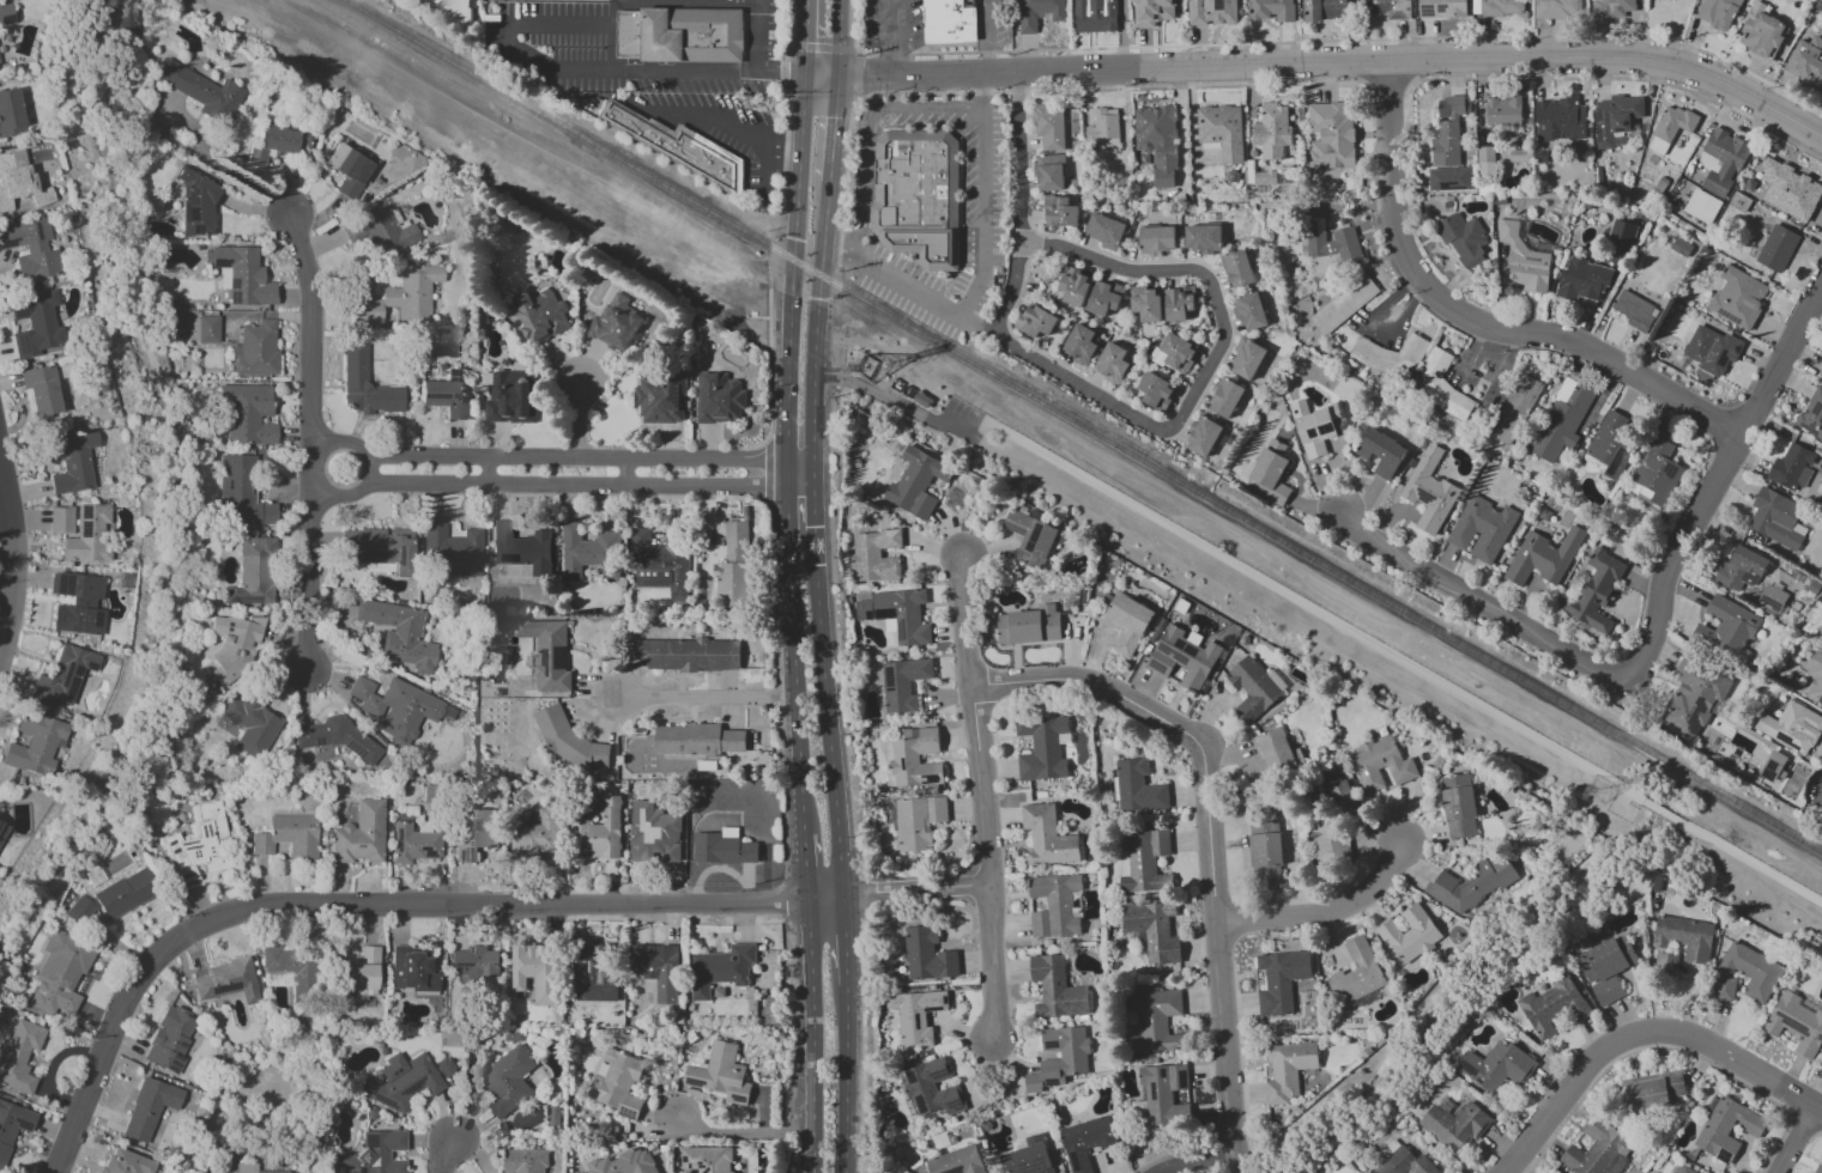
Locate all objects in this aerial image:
road: (724, 0)
building: (1496, 7)
building: (1387, 8)
building: (1441, 8)
rooftop solar panel: (1443, 8)
building: (1611, 8)
building: (1271, 10)
building: (1324, 10)
rooftop solar panel: (1433, 10)
building: (1557, 10)
building: (454, 12)
building: (1152, 12)
building: (1211, 12)
building: (1037, 13)
building: (1717, 13)
building: (6, 16)
building: (1095, 16)
rooftop solar panel: (7, 19)
building: (128, 19)
building: (954, 22)
road: (789, 30)
road: (758, 34)
building: (683, 35)
flagpole: (773, 35)
building: (1762, 35)
road: (855, 36)
road: (986, 37)
road: (807, 38)
road: (835, 38)
road: (892, 38)
road: (1372, 39)
traffic signals: (807, 41)
road: (612, 44)
road: (849, 50)
road: (891, 55)
building: (1806, 60)
road: (1337, 67)
road: (569, 68)
road: (783, 72)
traffic signals: (779, 73)
road: (781, 73)
road: (821, 78)
traffic signals: (858, 79)
parking lot: (640, 83)
building: (201, 92)
building: (1502, 111)
building: (11, 114)
traffic signals: (831, 120)
building: (1558, 120)
building: (1615, 120)
road: (737, 126)
building: (1048, 127)
road: (868, 128)
building: (1670, 128)
road: (830, 130)
building: (1102, 130)
building: (1221, 130)
building: (1271, 130)
building: (1448, 133)
building: (1328, 141)
building: (1157, 142)
building: (676, 144)
building: (276, 145)
road: (783, 146)
road: (782, 154)
building: (1484, 162)
rooftop solar panel: (353, 164)
building: (347, 168)
road: (223, 170)
building: (1049, 172)
building: (18, 181)
road: (845, 184)
rooftop solar panel: (190, 187)
building: (1788, 189)
rooftop solar panel: (196, 192)
building: (919, 196)
road: (983, 200)
rooftop solar panel: (192, 201)
building: (198, 206)
building: (1701, 206)
building: (1059, 212)
rooftop solar panel: (1066, 212)
rooftop solar panel: (186, 213)
rooftop solar panel: (194, 215)
rooftop solar panel: (1060, 223)
parking lot: (982, 230)
rooftop solar panel: (198, 231)
building: (380, 231)
building: (1103, 231)
rooftop solar panel: (37, 232)
building: (1621, 233)
rooftop solar panel: (28, 236)
road: (819, 236)
building: (1203, 238)
road: (793, 239)
building: (1156, 239)
building: (1463, 241)
rooftop solar panel: (7, 244)
building: (1332, 245)
road: (775, 248)
building: (1776, 248)
building: (31, 249)
building: (1523, 260)
rooftop solar panel: (223, 265)
building: (1239, 268)
building: (240, 275)
building: (1581, 280)
road: (906, 286)
building: (1073, 287)
building: (400, 297)
building: (1103, 297)
building: (1738, 298)
building: (1178, 303)
building: (1145, 304)
building: (1343, 304)
building: (1635, 310)
building: (1249, 311)
building: (540, 316)
rooftop solar panel: (1727, 316)
road: (1478, 317)
building: (1035, 321)
building: (36, 322)
building: (615, 324)
building: (205, 329)
building: (1079, 344)
road: (813, 346)
building: (255, 350)
building: (1711, 350)
rooftop solar panel: (1737, 350)
building: (1174, 352)
building: (1388, 357)
rooftop solar panel: (1721, 359)
building: (1247, 360)
building: (1112, 363)
power tower: (865, 369)
road: (769, 373)
building: (1821, 375)
building: (365, 387)
building: (1441, 388)
building: (1156, 391)
building: (40, 394)
rooftop solar panel: (670, 394)
building: (444, 395)
rooftop solar panel: (648, 397)
building: (660, 397)
building: (509, 399)
building: (719, 399)
building: (1225, 399)
rooftop solar panel: (664, 405)
road: (895, 405)
rooftop solar panel: (1816, 406)
building: (1515, 409)
road: (1125, 411)
building: (1812, 415)
road: (579, 418)
parking lot: (958, 419)
building: (1562, 419)
railway: (1082, 423)
building: (1316, 426)
rooftop solar panel: (1811, 427)
rooftop solar panel: (1328, 430)
road: (786, 432)
road: (813, 432)
rooftop solar panel: (1315, 432)
building: (1203, 437)
road: (310, 444)
building: (1610, 444)
building: (1381, 452)
road: (545, 457)
road: (799, 461)
building: (72, 462)
rooftop solar panel: (1617, 462)
building: (1791, 467)
road: (370, 470)
road: (767, 470)
building: (1271, 472)
building: (1657, 472)
building: (916, 482)
road: (559, 484)
road: (1712, 487)
building: (1429, 491)
building: (240, 493)
road: (815, 494)
rooftop solar panel: (85, 512)
building: (60, 519)
building: (1776, 519)
rooftop solar panel: (1013, 528)
building: (1481, 529)
rooftop solar panel: (85, 530)
building: (87, 535)
building: (1030, 537)
rooftop solar panel: (1033, 537)
building: (525, 548)
building: (379, 549)
building: (450, 552)
building: (588, 552)
rooftop solar panel: (1021, 553)
building: (874, 555)
building: (1542, 557)
rooftop solar panel: (373, 558)
road: (8, 559)
building: (736, 560)
building: (659, 565)
building: (1739, 570)
road: (837, 571)
building: (252, 573)
rooftop solar panel: (62, 582)
rooftop solar panel: (654, 583)
rooftop solar panel: (68, 588)
building: (1594, 591)
building: (1770, 598)
rooftop solar panel: (1772, 602)
building: (78, 603)
road: (1478, 604)
road: (1313, 610)
building: (896, 616)
rooftop solar panel: (56, 618)
rooftop solar panel: (420, 618)
rooftop solar panel: (96, 619)
rooftop solar panel: (77, 621)
building: (1127, 622)
rooftop solar panel: (419, 625)
building: (1029, 625)
rooftop solar panel: (228, 628)
building: (1727, 628)
building: (398, 633)
building: (502, 633)
rooftop solar panel: (418, 634)
rooftop solar panel: (1176, 646)
road: (793, 649)
building: (235, 650)
rooftop solar panel: (1192, 650)
rooftop solar panel: (1174, 652)
building: (547, 654)
building: (688, 655)
building: (1182, 656)
rooftop solar panel: (561, 658)
rooftop solar panel: (543, 661)
rooftop solar panel: (91, 665)
rooftop solar panel: (1157, 667)
building: (62, 676)
building: (1815, 677)
rooftop solar panel: (74, 680)
building: (902, 683)
building: (1252, 689)
road: (706, 699)
building: (1691, 700)
building: (397, 706)
road: (828, 712)
rooftop solar panel: (1694, 716)
building: (250, 725)
building: (1792, 727)
rooftop solar panel: (1784, 739)
building: (568, 740)
building: (697, 740)
rooftop solar panel: (319, 742)
building: (34, 743)
building: (1041, 748)
rooftop solar panel: (353, 749)
building: (1277, 752)
building: (913, 758)
building: (1380, 765)
building: (1137, 788)
building: (1343, 798)
road: (981, 800)
rooftop solar panel: (1449, 800)
building: (1458, 806)
road: (1663, 813)
building: (918, 821)
building: (2, 827)
rooftop solar panel: (204, 829)
rooftop solar panel: (207, 829)
rooftop solar panel: (1452, 829)
building: (474, 833)
building: (598, 833)
building: (359, 834)
building: (537, 834)
building: (653, 835)
building: (287, 837)
building: (1047, 837)
road: (1207, 838)
building: (1326, 840)
rooftop solar panel: (171, 841)
rooftop solar panel: (395, 841)
rooftop solar panel: (472, 843)
rooftop solar panel: (187, 844)
building: (412, 844)
rooftop solar panel: (192, 847)
building: (199, 847)
rooftop solar panel: (465, 847)
building: (722, 847)
rooftop solar panel: (174, 851)
building: (1265, 852)
rooftop solar panel: (426, 853)
building: (1144, 862)
road: (1753, 864)
road: (804, 868)
rooftop solar panel: (184, 874)
rooftop solar panel: (189, 881)
building: (1471, 885)
road: (914, 889)
building: (125, 894)
building: (1054, 905)
road: (371, 906)
building: (78, 912)
road: (1324, 914)
building: (1152, 931)
building: (1409, 934)
building: (1684, 937)
road: (842, 940)
rooftop solar panel: (471, 950)
building: (927, 955)
building: (476, 962)
rooftop solar panel: (455, 965)
rooftop solar panel: (496, 965)
building: (1665, 965)
building: (287, 967)
building: (1606, 967)
building: (411, 970)
building: (656, 970)
building: (720, 970)
building: (1751, 971)
building: (535, 972)
building: (59, 973)
building: (593, 973)
building: (1356, 973)
building: (361, 974)
building: (226, 980)
building: (1279, 980)
building: (1055, 989)
building: (1723, 989)
rooftop solar panel: (225, 990)
rooftop solar panel: (594, 996)
building: (1552, 1005)
building: (915, 1015)
building: (1156, 1021)
rooftop solar panel: (1792, 1023)
building: (1796, 1023)
road: (1641, 1035)
road: (812, 1037)
building: (169, 1040)
rooftop solar panel: (181, 1046)
building: (19, 1056)
rooftop solar panel: (175, 1057)
building: (1059, 1058)
building: (1499, 1065)
building: (1821, 1065)
rooftop solar panel: (172, 1066)
rooftop solar panel: (1470, 1068)
building: (1287, 1069)
rooftop solar panel: (168, 1070)
building: (721, 1074)
road: (845, 1078)
building: (507, 1081)
building: (400, 1082)
rooftop solar panel: (692, 1082)
building: (617, 1083)
building: (931, 1088)
building: (1652, 1090)
building: (1162, 1095)
rooftop solar panel: (738, 1098)
building: (149, 1108)
rooftop solar panel: (626, 1113)
building: (12, 1125)
building: (1454, 1125)
building: (1726, 1128)
road: (743, 1132)
road: (1799, 1139)
building: (1086, 1141)
building: (1598, 1150)
building: (375, 1154)
building: (1028, 1155)
rooftop solar panel: (1725, 1156)
road: (450, 1157)
road: (1192, 1157)
building: (707, 1160)
building: (1402, 1160)
building: (523, 1161)
building: (956, 1161)
rooftop solar panel: (1075, 1162)
building: (624, 1163)
building: (1818, 1167)
building: (254, 1168)
rooftop solar panel: (1031, 1168)
building: (1685, 1169)
rooftop solar panel: (706, 1171)
rooftop solar panel: (695, 1172)

